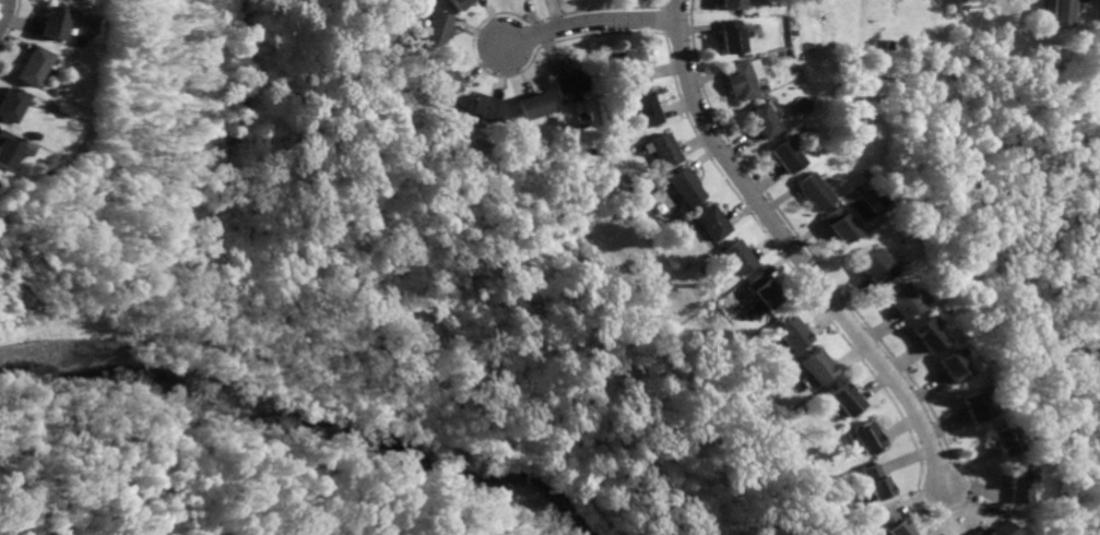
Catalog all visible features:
road: (663, 1)
building: (461, 3)
building: (733, 3)
road: (1074, 3)
building: (1056, 11)
road: (4, 14)
road: (663, 17)
building: (51, 23)
road: (592, 24)
building: (439, 31)
building: (731, 36)
road: (473, 47)
building: (34, 67)
building: (636, 67)
building: (449, 80)
building: (741, 80)
building: (572, 83)
building: (12, 104)
building: (535, 106)
building: (487, 107)
building: (648, 108)
building: (762, 121)
building: (9, 148)
building: (664, 151)
building: (788, 156)
building: (686, 186)
building: (814, 191)
building: (712, 224)
building: (840, 226)
road: (796, 251)
building: (737, 259)
building: (873, 266)
building: (767, 289)
building: (900, 300)
building: (755, 310)
building: (795, 333)
building: (924, 336)
building: (949, 366)
building: (821, 367)
building: (848, 400)
building: (971, 405)
building: (870, 438)
building: (1002, 442)
building: (878, 481)
building: (1016, 487)
road: (963, 506)
building: (897, 523)
building: (998, 531)

